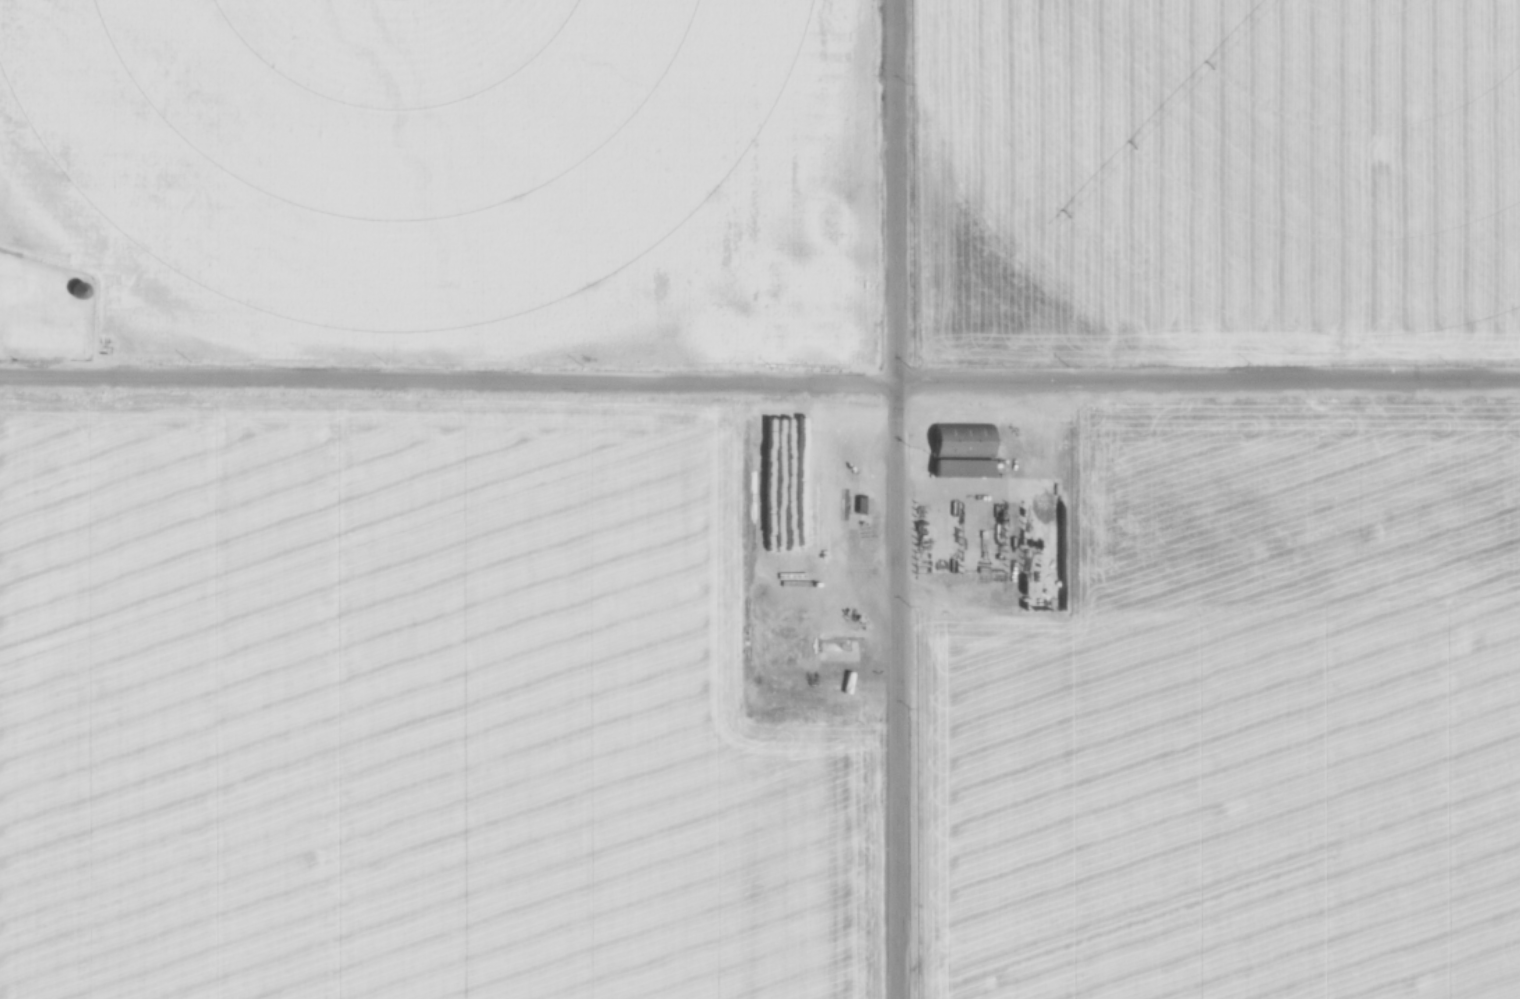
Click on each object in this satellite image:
road: (891, 193)
building: (81, 290)
silo: (81, 290)
road: (759, 384)
road: (1002, 400)
road: (441, 413)
road: (1095, 416)
building: (965, 442)
road: (1028, 453)
building: (968, 470)
road: (850, 505)
road: (874, 507)
building: (862, 508)
road: (974, 528)
road: (938, 543)
road: (1037, 548)
road: (954, 596)
building: (1052, 606)
road: (841, 673)
road: (893, 692)

